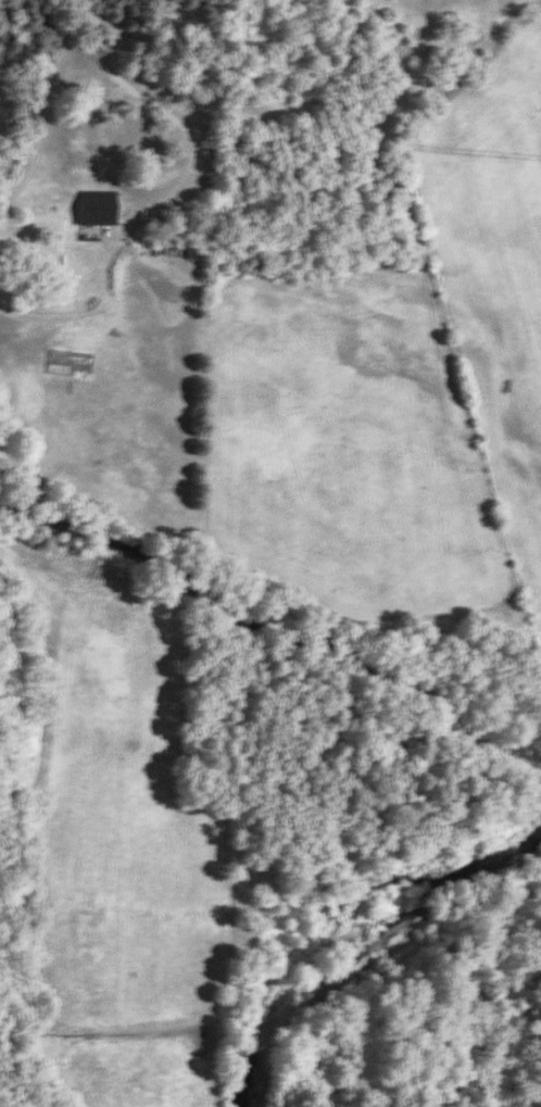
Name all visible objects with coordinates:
road: (46, 109)
road: (291, 166)
road: (108, 257)

